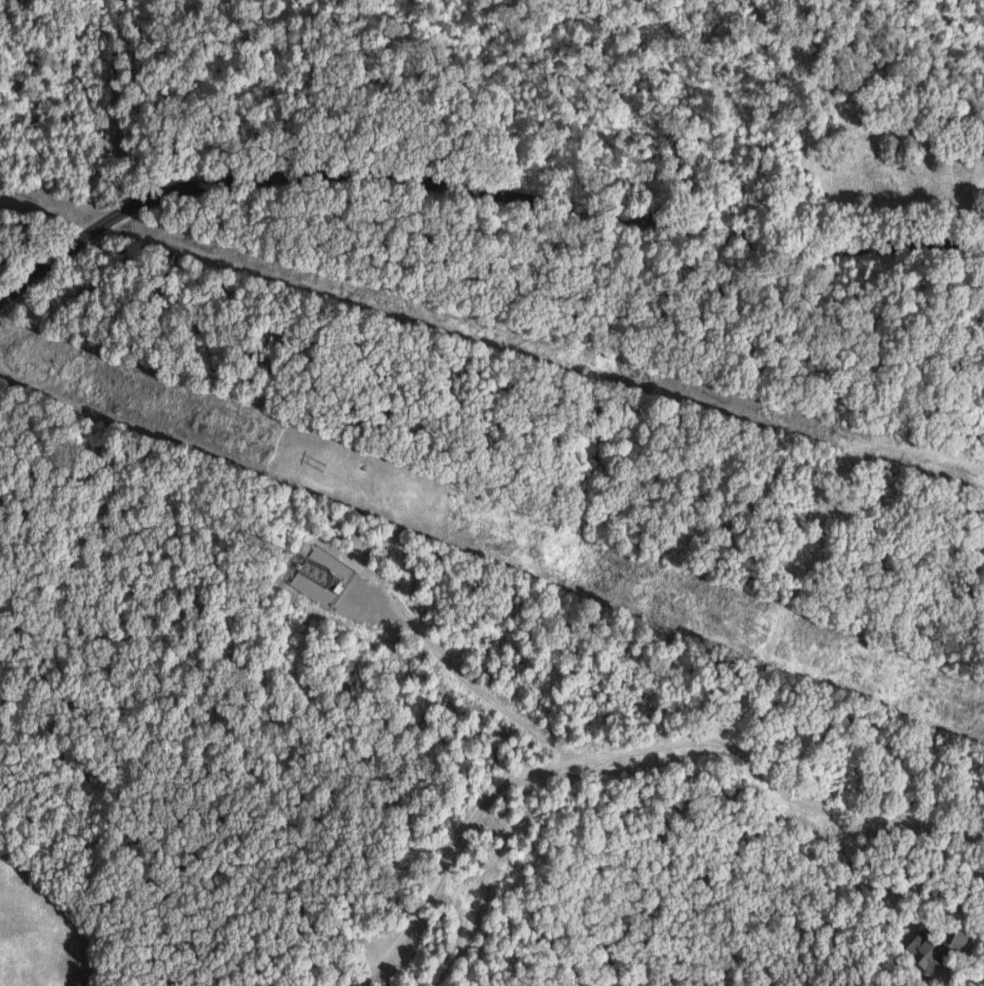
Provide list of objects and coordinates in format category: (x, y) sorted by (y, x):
road: (478, 188)
power tower: (327, 468)
power tower: (768, 630)
road: (494, 793)
road: (845, 817)
building: (962, 938)
building: (925, 951)

